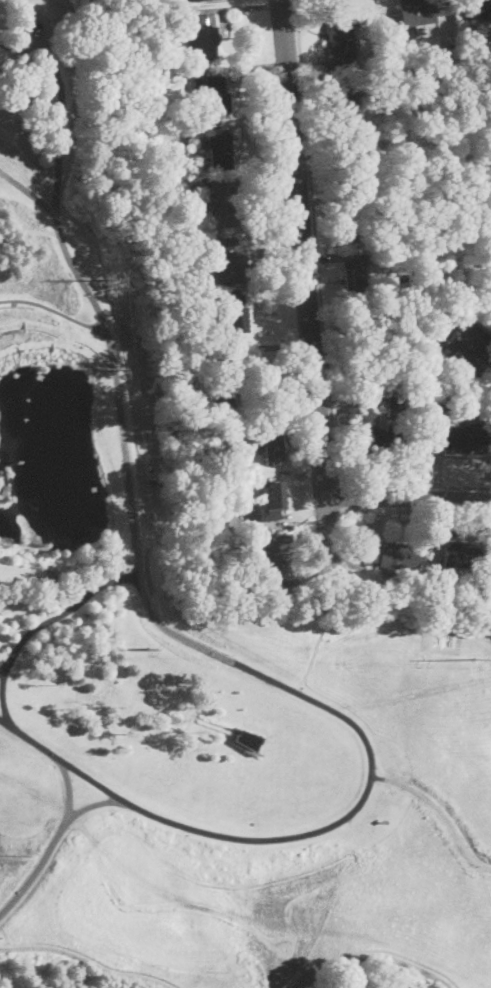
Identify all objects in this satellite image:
building: (187, 0)
building: (197, 0)
building: (160, 1)
building: (478, 9)
building: (423, 10)
building: (175, 21)
road: (40, 28)
building: (205, 37)
building: (340, 38)
building: (470, 56)
building: (367, 83)
building: (211, 95)
building: (348, 108)
building: (167, 151)
building: (219, 151)
building: (352, 166)
building: (181, 190)
road: (28, 192)
building: (224, 204)
building: (353, 225)
building: (187, 239)
road: (315, 240)
building: (232, 265)
building: (353, 277)
power tower: (106, 280)
road: (88, 291)
building: (217, 298)
road: (307, 299)
road: (53, 309)
building: (235, 315)
building: (469, 355)
building: (229, 377)
building: (190, 389)
building: (396, 400)
building: (436, 403)
building: (458, 437)
building: (386, 440)
building: (272, 447)
road: (411, 486)
road: (407, 497)
building: (273, 501)
building: (214, 525)
building: (393, 554)
building: (460, 556)
building: (277, 559)
road: (43, 585)
building: (477, 602)
road: (65, 612)
park: (188, 622)
road: (313, 645)
power tower: (142, 651)
power tower: (472, 661)
road: (2, 669)
road: (3, 697)
road: (30, 739)
building: (248, 740)
road: (370, 754)
road: (92, 780)
road: (68, 788)
road: (95, 805)
road: (439, 811)
road: (38, 869)
road: (373, 953)
road: (85, 960)

